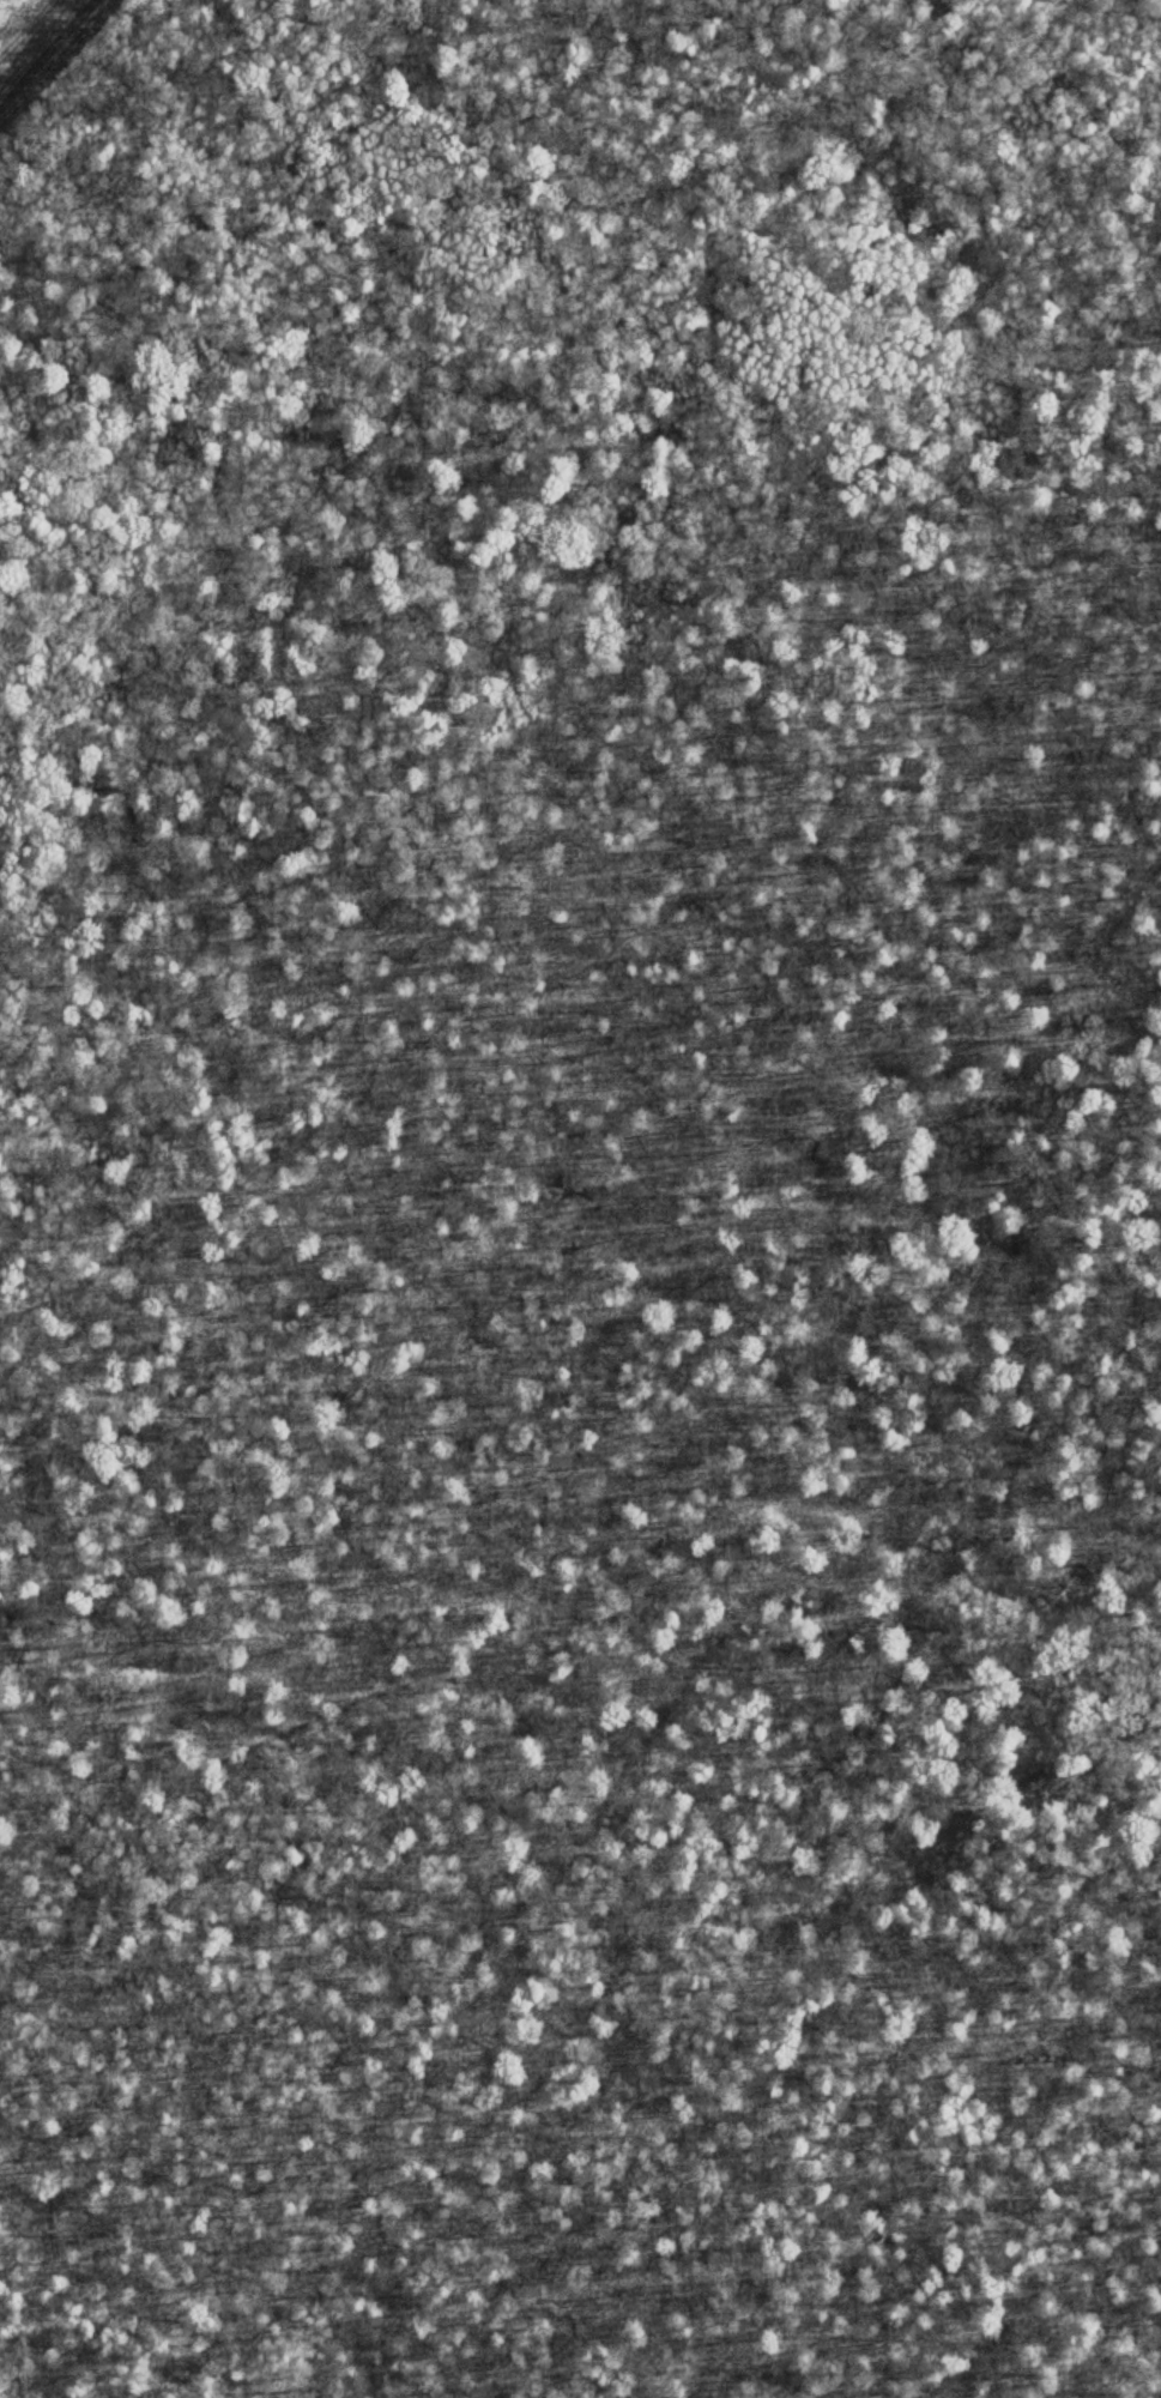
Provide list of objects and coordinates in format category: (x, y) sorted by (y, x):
park: (580, 1198)
road: (588, 1209)
road: (1114, 1648)
road: (525, 1669)

